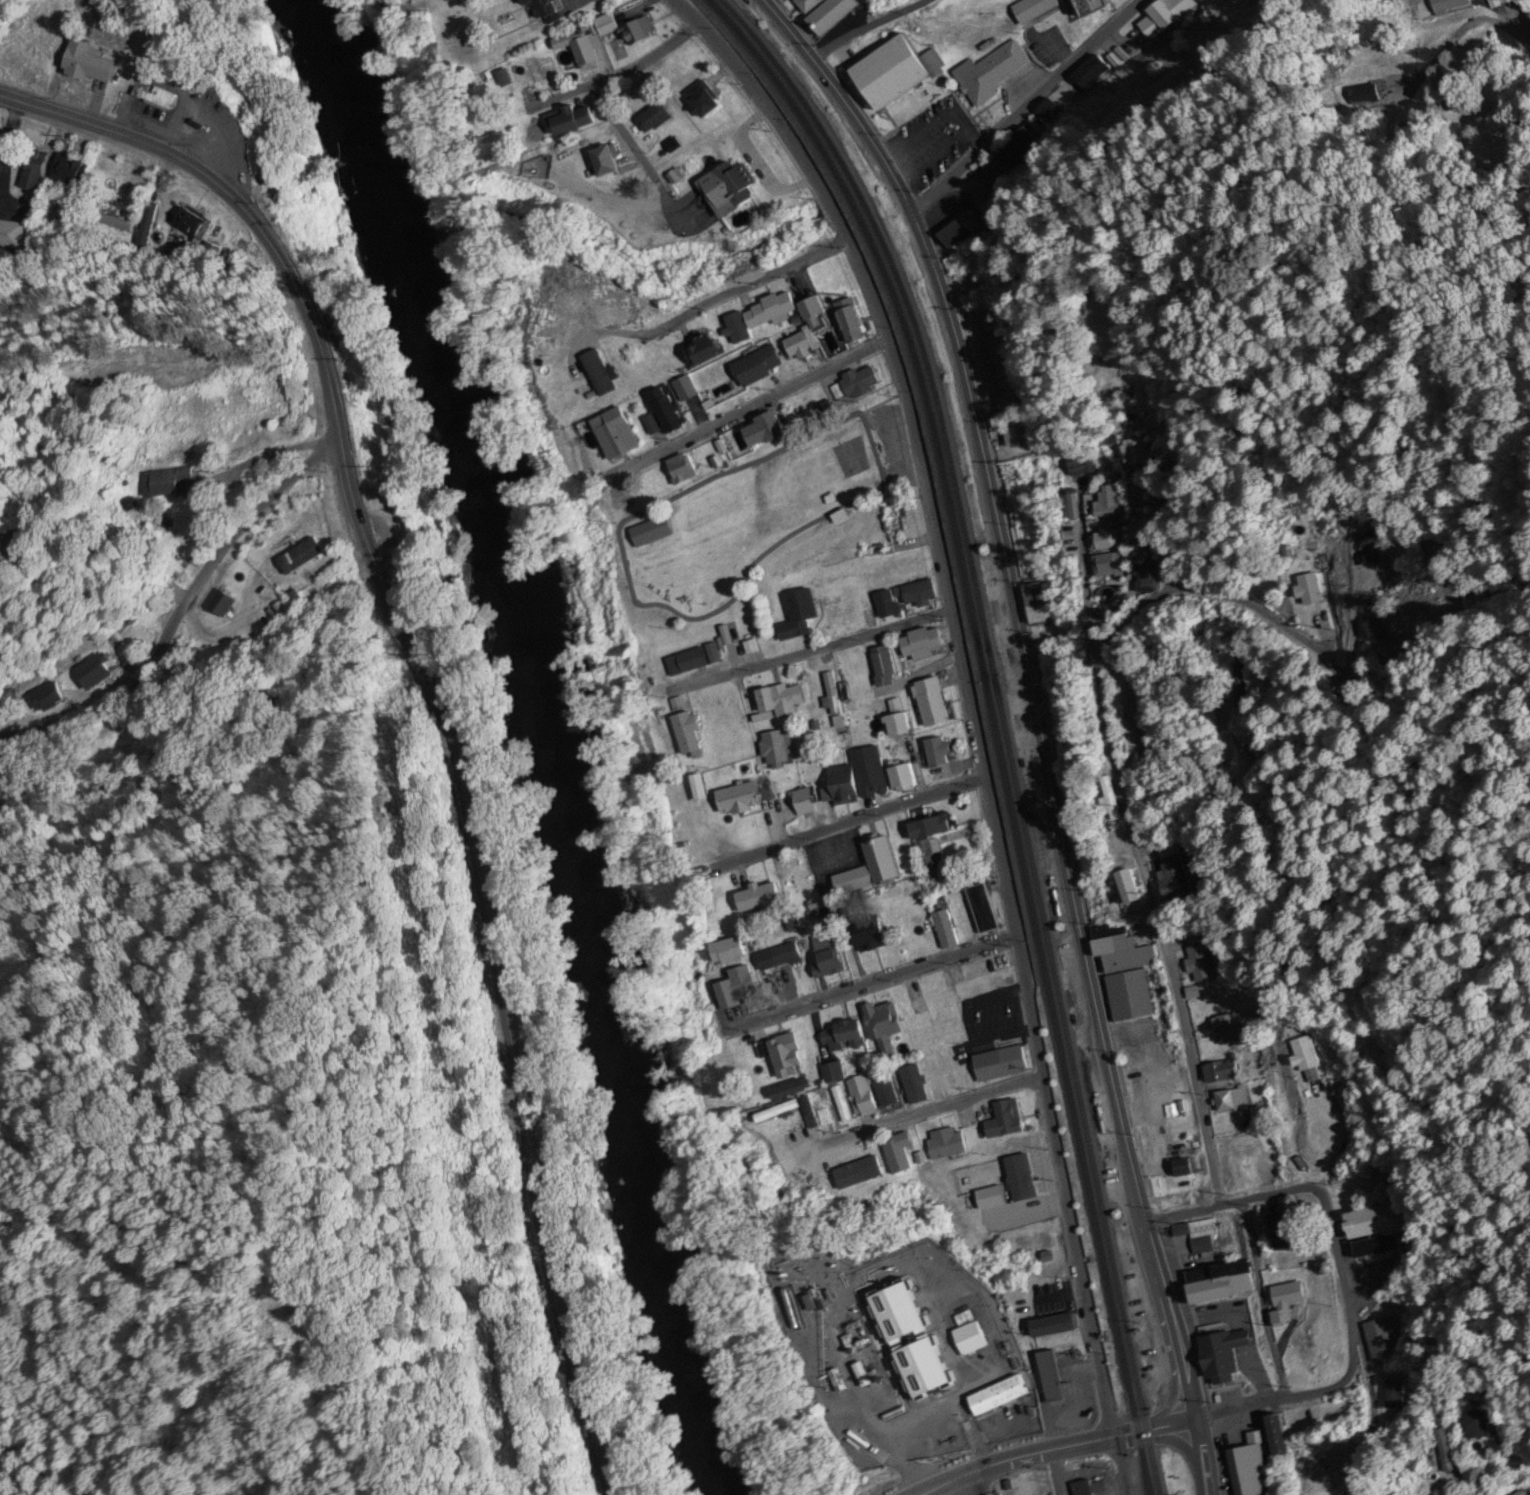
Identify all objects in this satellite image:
building: (808, 5)
building: (1448, 5)
building: (1093, 6)
building: (545, 7)
road: (1519, 13)
building: (832, 15)
building: (1165, 17)
road: (783, 30)
road: (862, 31)
building: (638, 32)
building: (583, 49)
building: (89, 63)
road: (619, 70)
building: (896, 72)
building: (1091, 72)
building: (990, 73)
building: (532, 75)
building: (158, 99)
building: (703, 101)
road: (1023, 108)
building: (1049, 112)
building: (653, 119)
building: (570, 121)
building: (1019, 146)
building: (603, 161)
building: (32, 171)
building: (66, 173)
building: (993, 176)
building: (726, 191)
building: (146, 225)
building: (192, 225)
building: (959, 231)
building: (11, 236)
building: (210, 253)
road: (745, 286)
building: (769, 312)
building: (813, 314)
building: (851, 327)
road: (952, 334)
building: (798, 346)
building: (703, 351)
building: (758, 367)
building: (1004, 375)
building: (855, 385)
building: (686, 390)
road: (754, 407)
building: (667, 412)
building: (764, 432)
building: (616, 436)
building: (1019, 438)
building: (1134, 455)
building: (1078, 466)
building: (682, 471)
building: (167, 485)
building: (1109, 499)
building: (1073, 505)
building: (895, 524)
building: (651, 534)
building: (1104, 542)
building: (300, 558)
building: (1107, 566)
building: (1144, 573)
building: (1309, 591)
building: (888, 604)
building: (222, 605)
road: (178, 606)
building: (1038, 606)
building: (799, 615)
building: (1378, 629)
building: (922, 641)
road: (819, 649)
building: (693, 660)
building: (884, 666)
building: (93, 673)
building: (1239, 687)
building: (831, 695)
building: (48, 699)
building: (782, 700)
building: (933, 702)
road: (435, 708)
road: (976, 716)
railway: (998, 720)
building: (899, 725)
building: (688, 732)
river: (557, 746)
building: (775, 748)
building: (872, 774)
building: (905, 777)
building: (843, 785)
building: (739, 798)
building: (1110, 798)
building: (804, 802)
road: (851, 824)
building: (928, 824)
building: (904, 846)
building: (932, 856)
road: (1146, 865)
building: (871, 868)
building: (1176, 879)
building: (1129, 887)
building: (758, 897)
building: (983, 909)
building: (946, 929)
building: (871, 935)
building: (729, 951)
building: (1121, 951)
building: (779, 957)
building: (1197, 958)
building: (827, 959)
road: (871, 985)
building: (737, 988)
building: (1131, 1004)
building: (935, 1013)
building: (883, 1022)
building: (1229, 1030)
building: (844, 1037)
building: (888, 1053)
building: (783, 1055)
building: (1001, 1064)
road: (1108, 1067)
building: (1220, 1072)
building: (833, 1073)
building: (915, 1079)
building: (792, 1090)
building: (886, 1093)
building: (862, 1098)
building: (1231, 1101)
building: (818, 1116)
road: (924, 1117)
building: (1005, 1121)
building: (946, 1144)
building: (899, 1153)
building: (853, 1168)
building: (1184, 1168)
building: (972, 1175)
road: (1227, 1206)
building: (1377, 1229)
building: (1198, 1230)
building: (1284, 1233)
road: (1364, 1265)
building: (1222, 1283)
road: (1263, 1302)
building: (1288, 1305)
building: (908, 1311)
building: (1054, 1326)
building: (969, 1336)
building: (1382, 1340)
building: (1224, 1357)
building: (925, 1368)
building: (1053, 1379)
building: (998, 1397)
road: (1287, 1400)
building: (1317, 1417)
building: (1478, 1425)
building: (1278, 1436)
road: (1062, 1449)
building: (1444, 1451)
building: (1343, 1456)
road: (1412, 1468)
building: (1248, 1471)
road: (1056, 1473)
road: (971, 1486)
building: (1084, 1488)
building: (1524, 1491)

